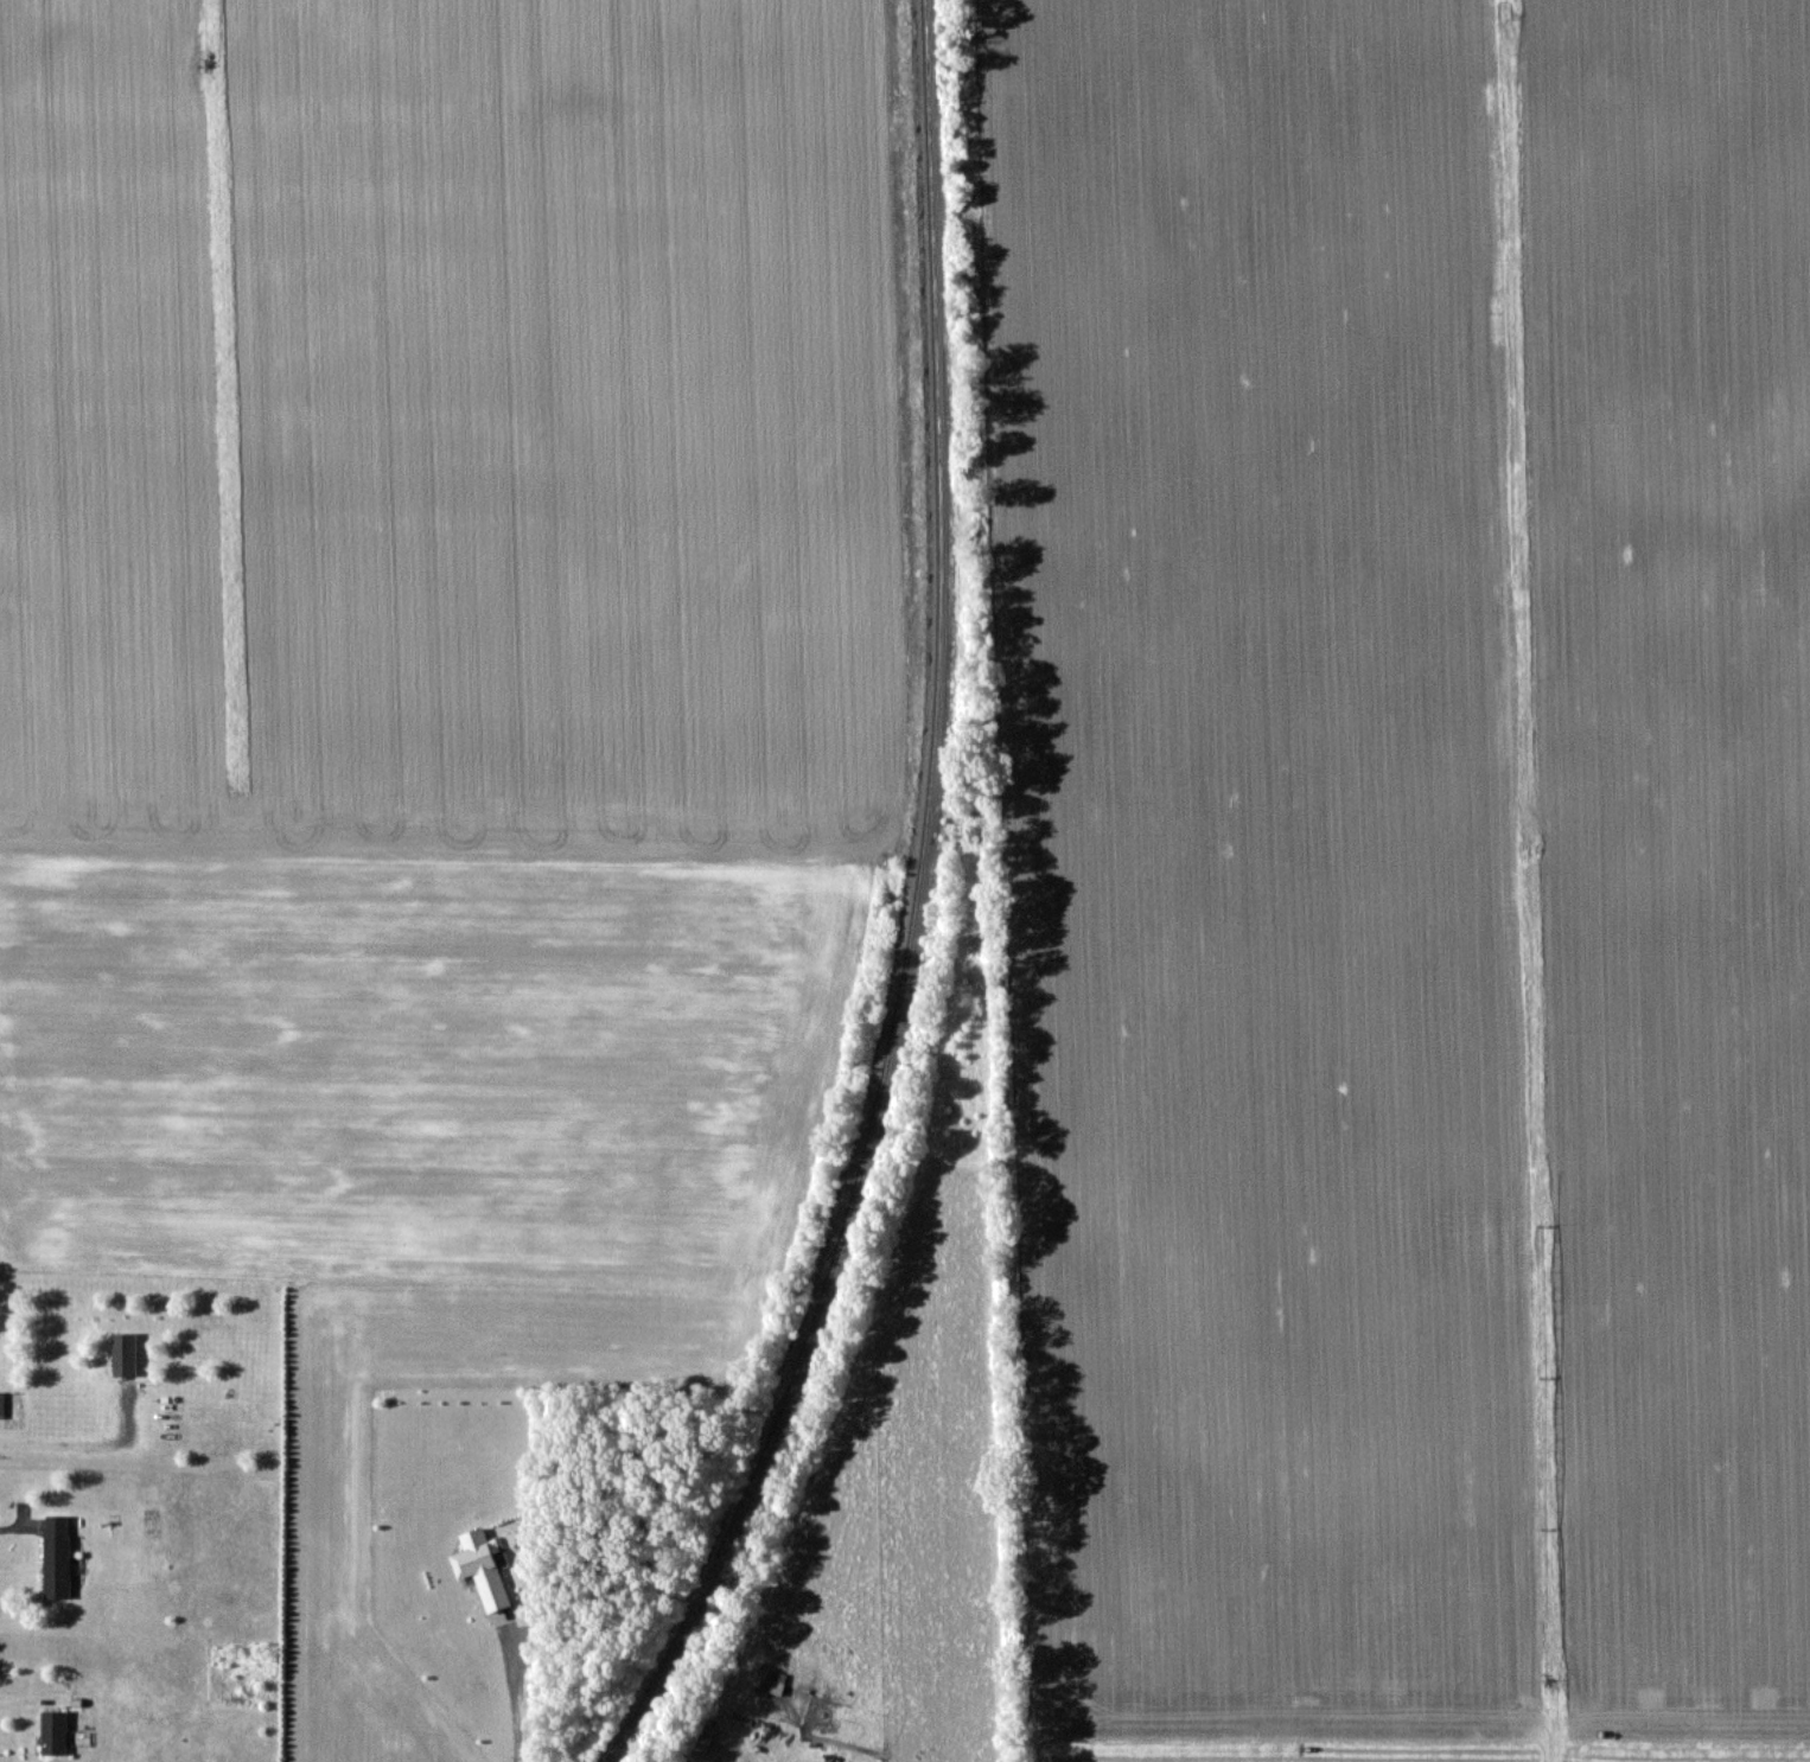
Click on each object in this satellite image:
railway: (861, 904)
building: (123, 1353)
building: (1, 1405)
road: (77, 1444)
building: (56, 1556)
building: (479, 1557)
road: (509, 1712)
building: (55, 1732)
building: (701, 1737)

